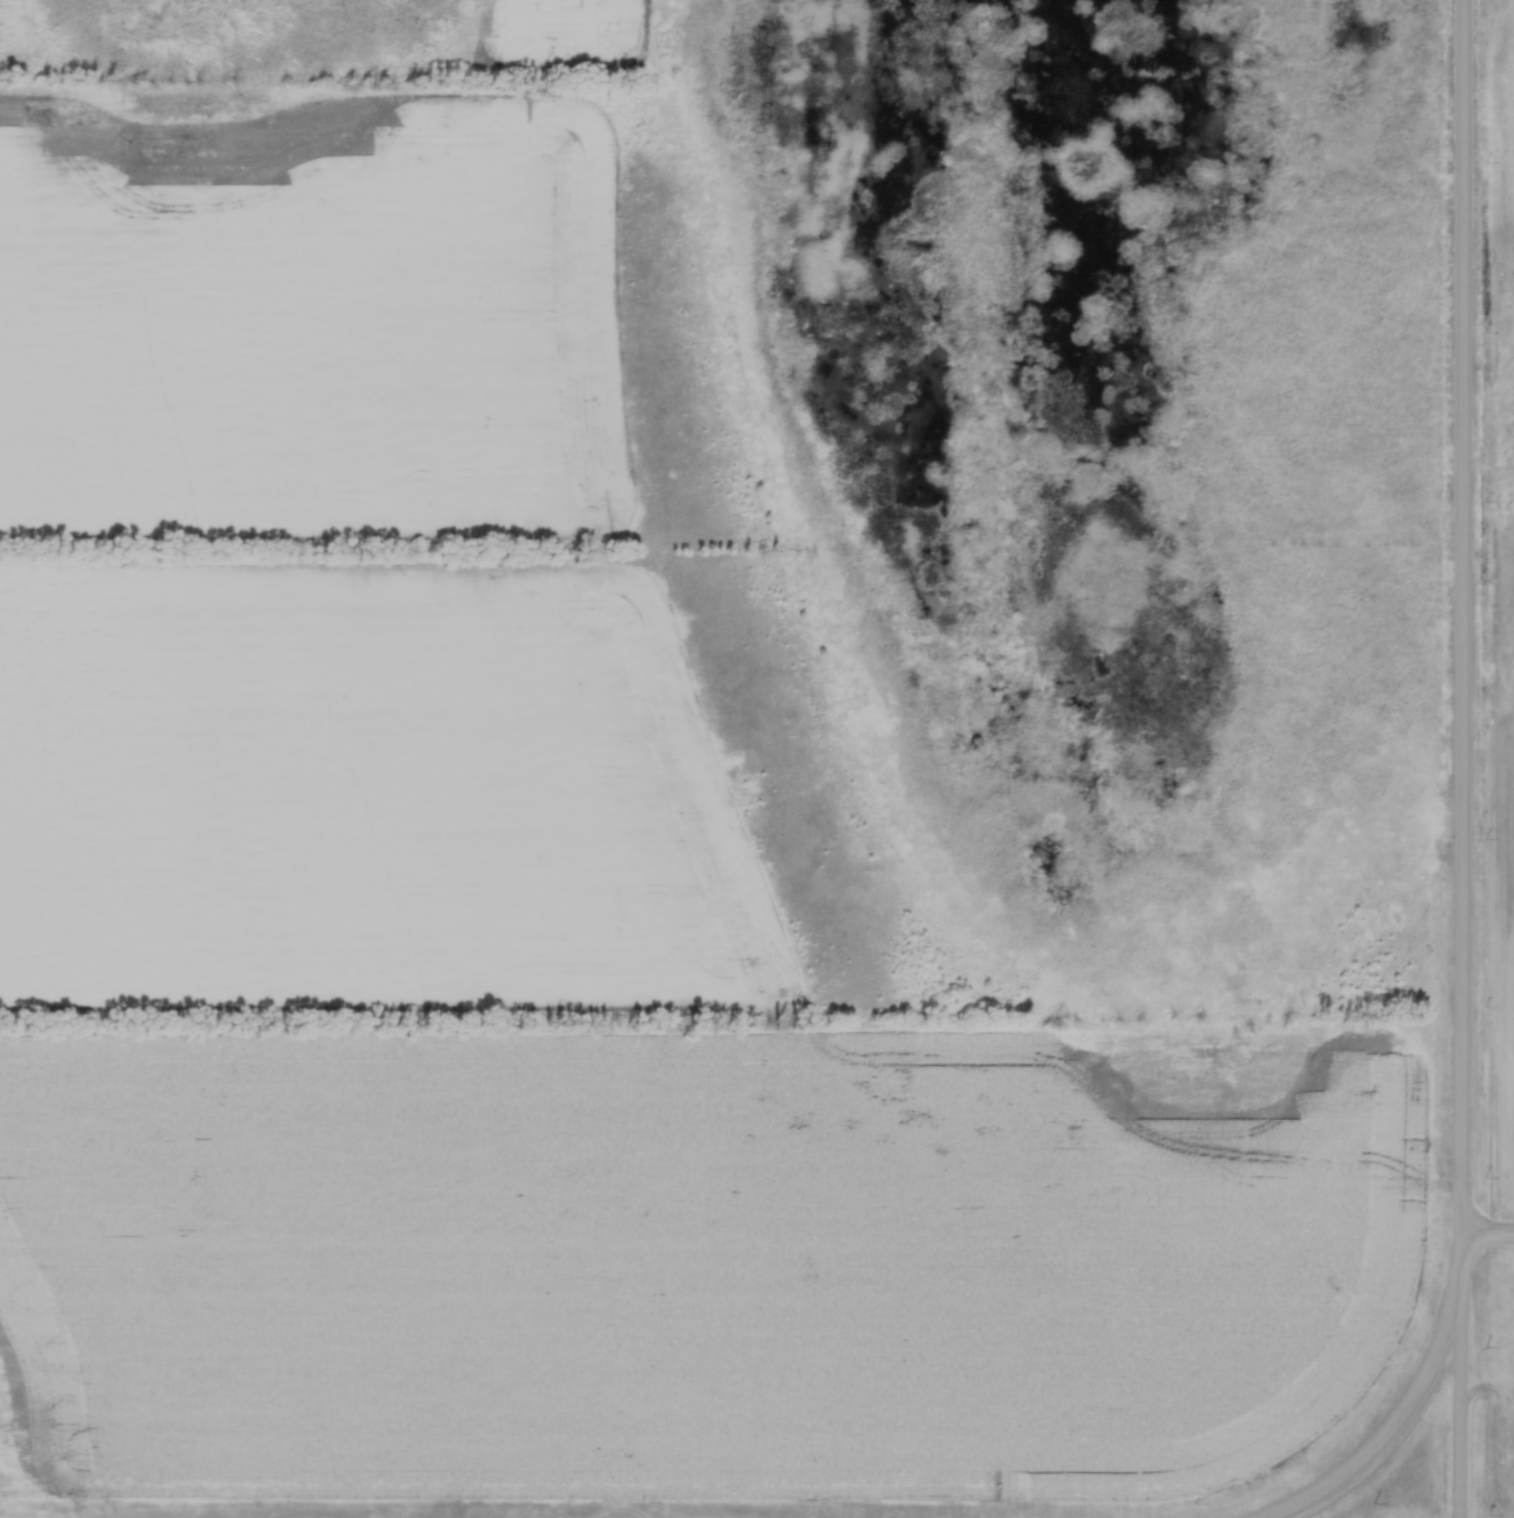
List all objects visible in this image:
road: (1461, 759)

